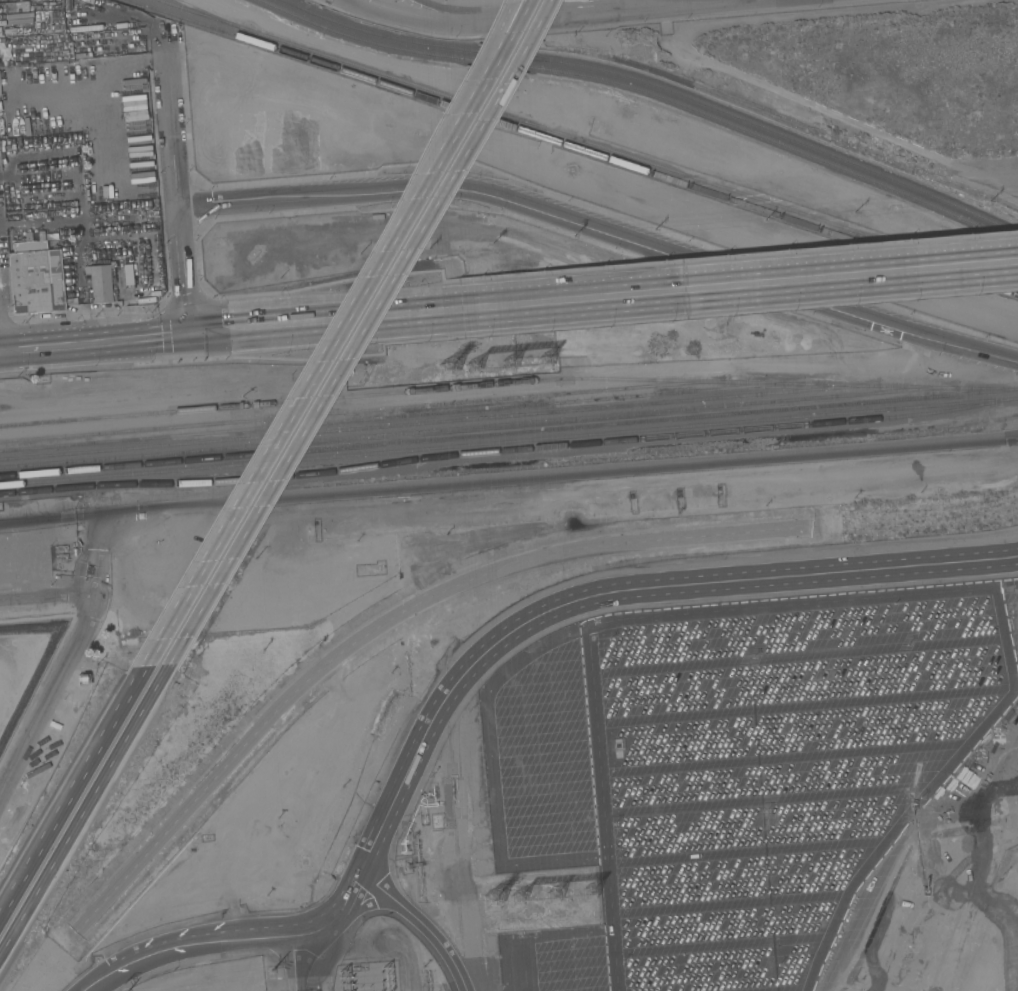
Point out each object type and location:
road: (347, 3)
road: (355, 3)
road: (614, 5)
road: (678, 5)
road: (446, 12)
railway: (213, 16)
road: (544, 18)
road: (512, 19)
road: (516, 19)
road: (414, 21)
road: (82, 67)
railway: (657, 85)
railway: (647, 92)
road: (171, 116)
railway: (587, 142)
railway: (573, 147)
road: (605, 230)
road: (186, 271)
road: (794, 279)
building: (37, 281)
building: (100, 283)
road: (381, 316)
road: (358, 333)
traffic signals: (192, 334)
road: (96, 341)
road: (0, 343)
road: (0, 349)
road: (324, 353)
power tower: (543, 365)
power tower: (508, 367)
power tower: (473, 370)
power tower: (449, 372)
railway: (508, 383)
railway: (362, 410)
railway: (400, 416)
railway: (439, 421)
railway: (478, 427)
railway: (508, 433)
railway: (508, 442)
railway: (509, 451)
railway: (270, 478)
road: (509, 479)
building: (88, 570)
storage tank: (88, 570)
road: (595, 596)
road: (44, 601)
road: (64, 657)
road: (71, 790)
road: (83, 809)
power tower: (590, 895)
power tower: (551, 899)
power tower: (516, 902)
power tower: (491, 904)
road: (422, 924)
road: (225, 938)
road: (291, 962)
power substation: (367, 977)
road: (95, 982)
road: (101, 982)

